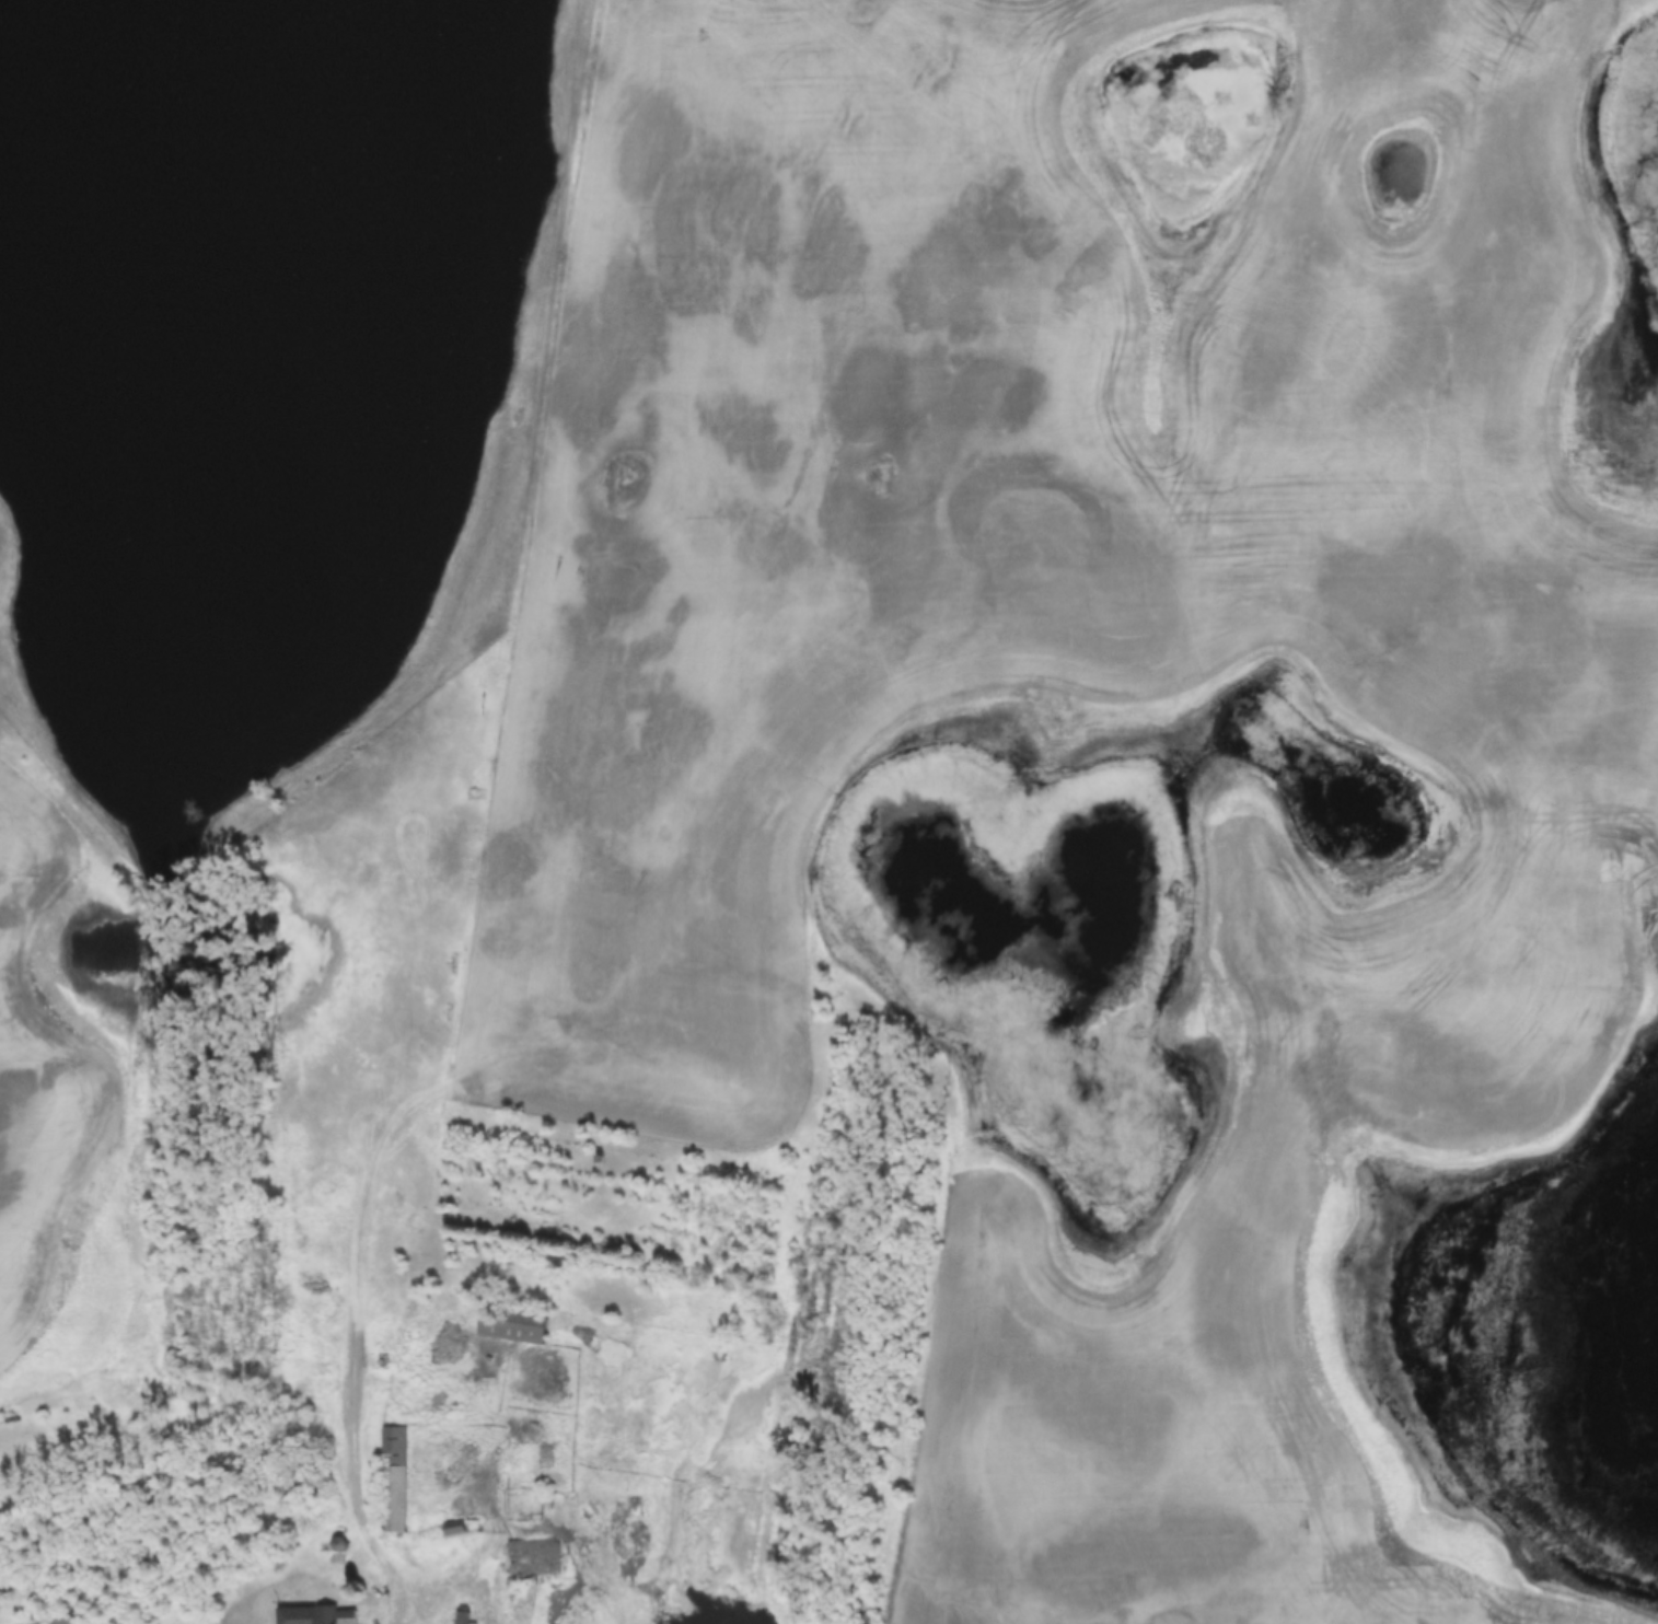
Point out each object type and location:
building: (512, 1322)
building: (392, 1481)
building: (453, 1529)
building: (533, 1561)
road: (466, 1575)
building: (317, 1615)
building: (63, 1617)
building: (513, 1623)

